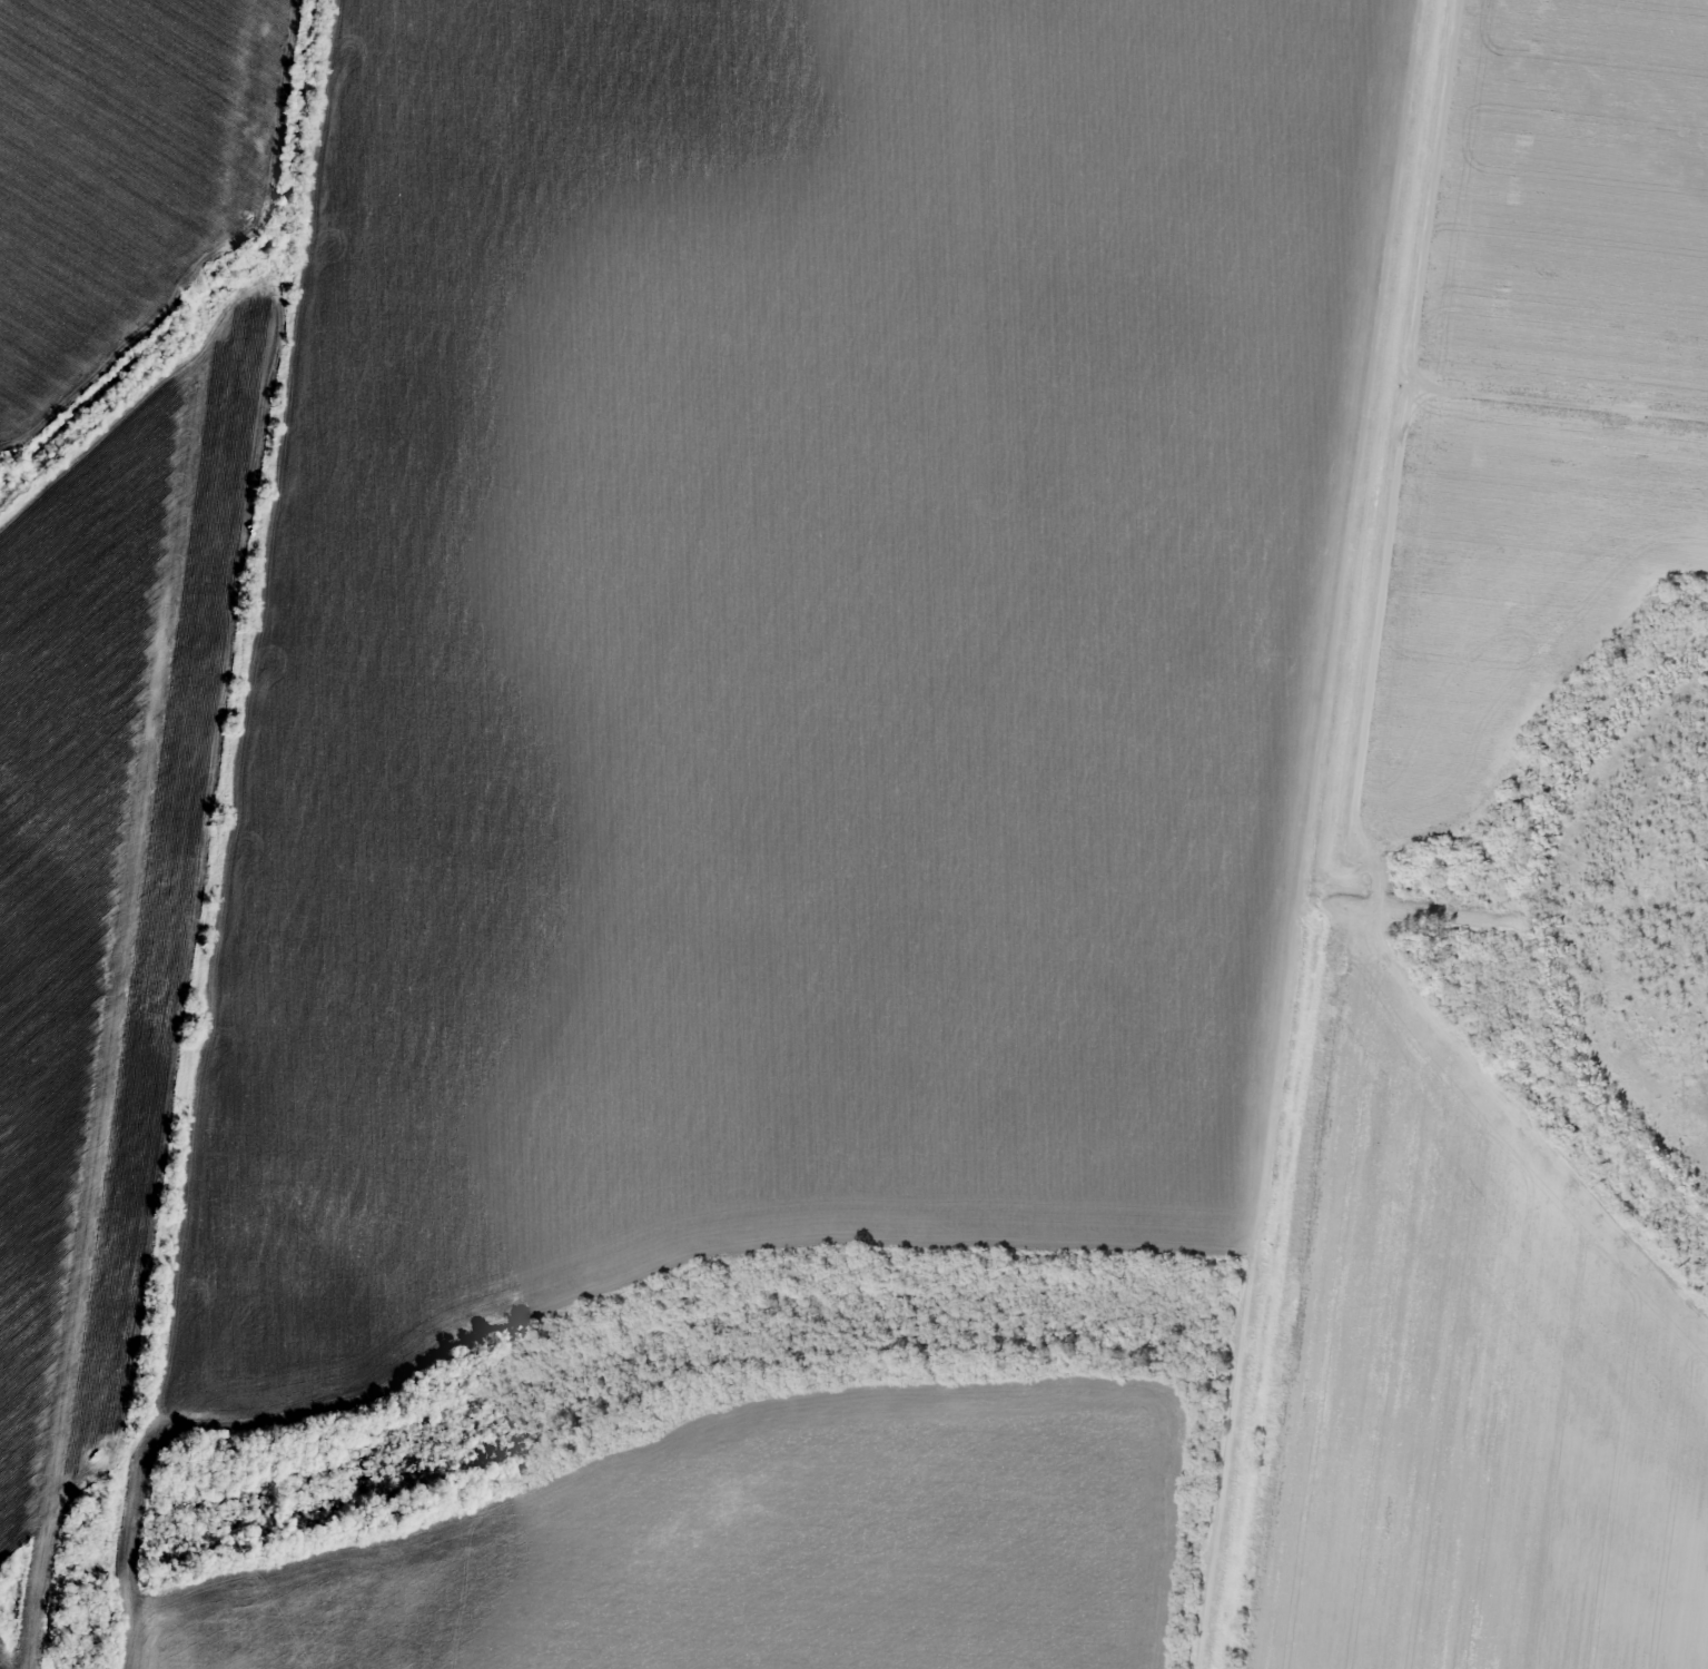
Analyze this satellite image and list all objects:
river: (1640, 924)

